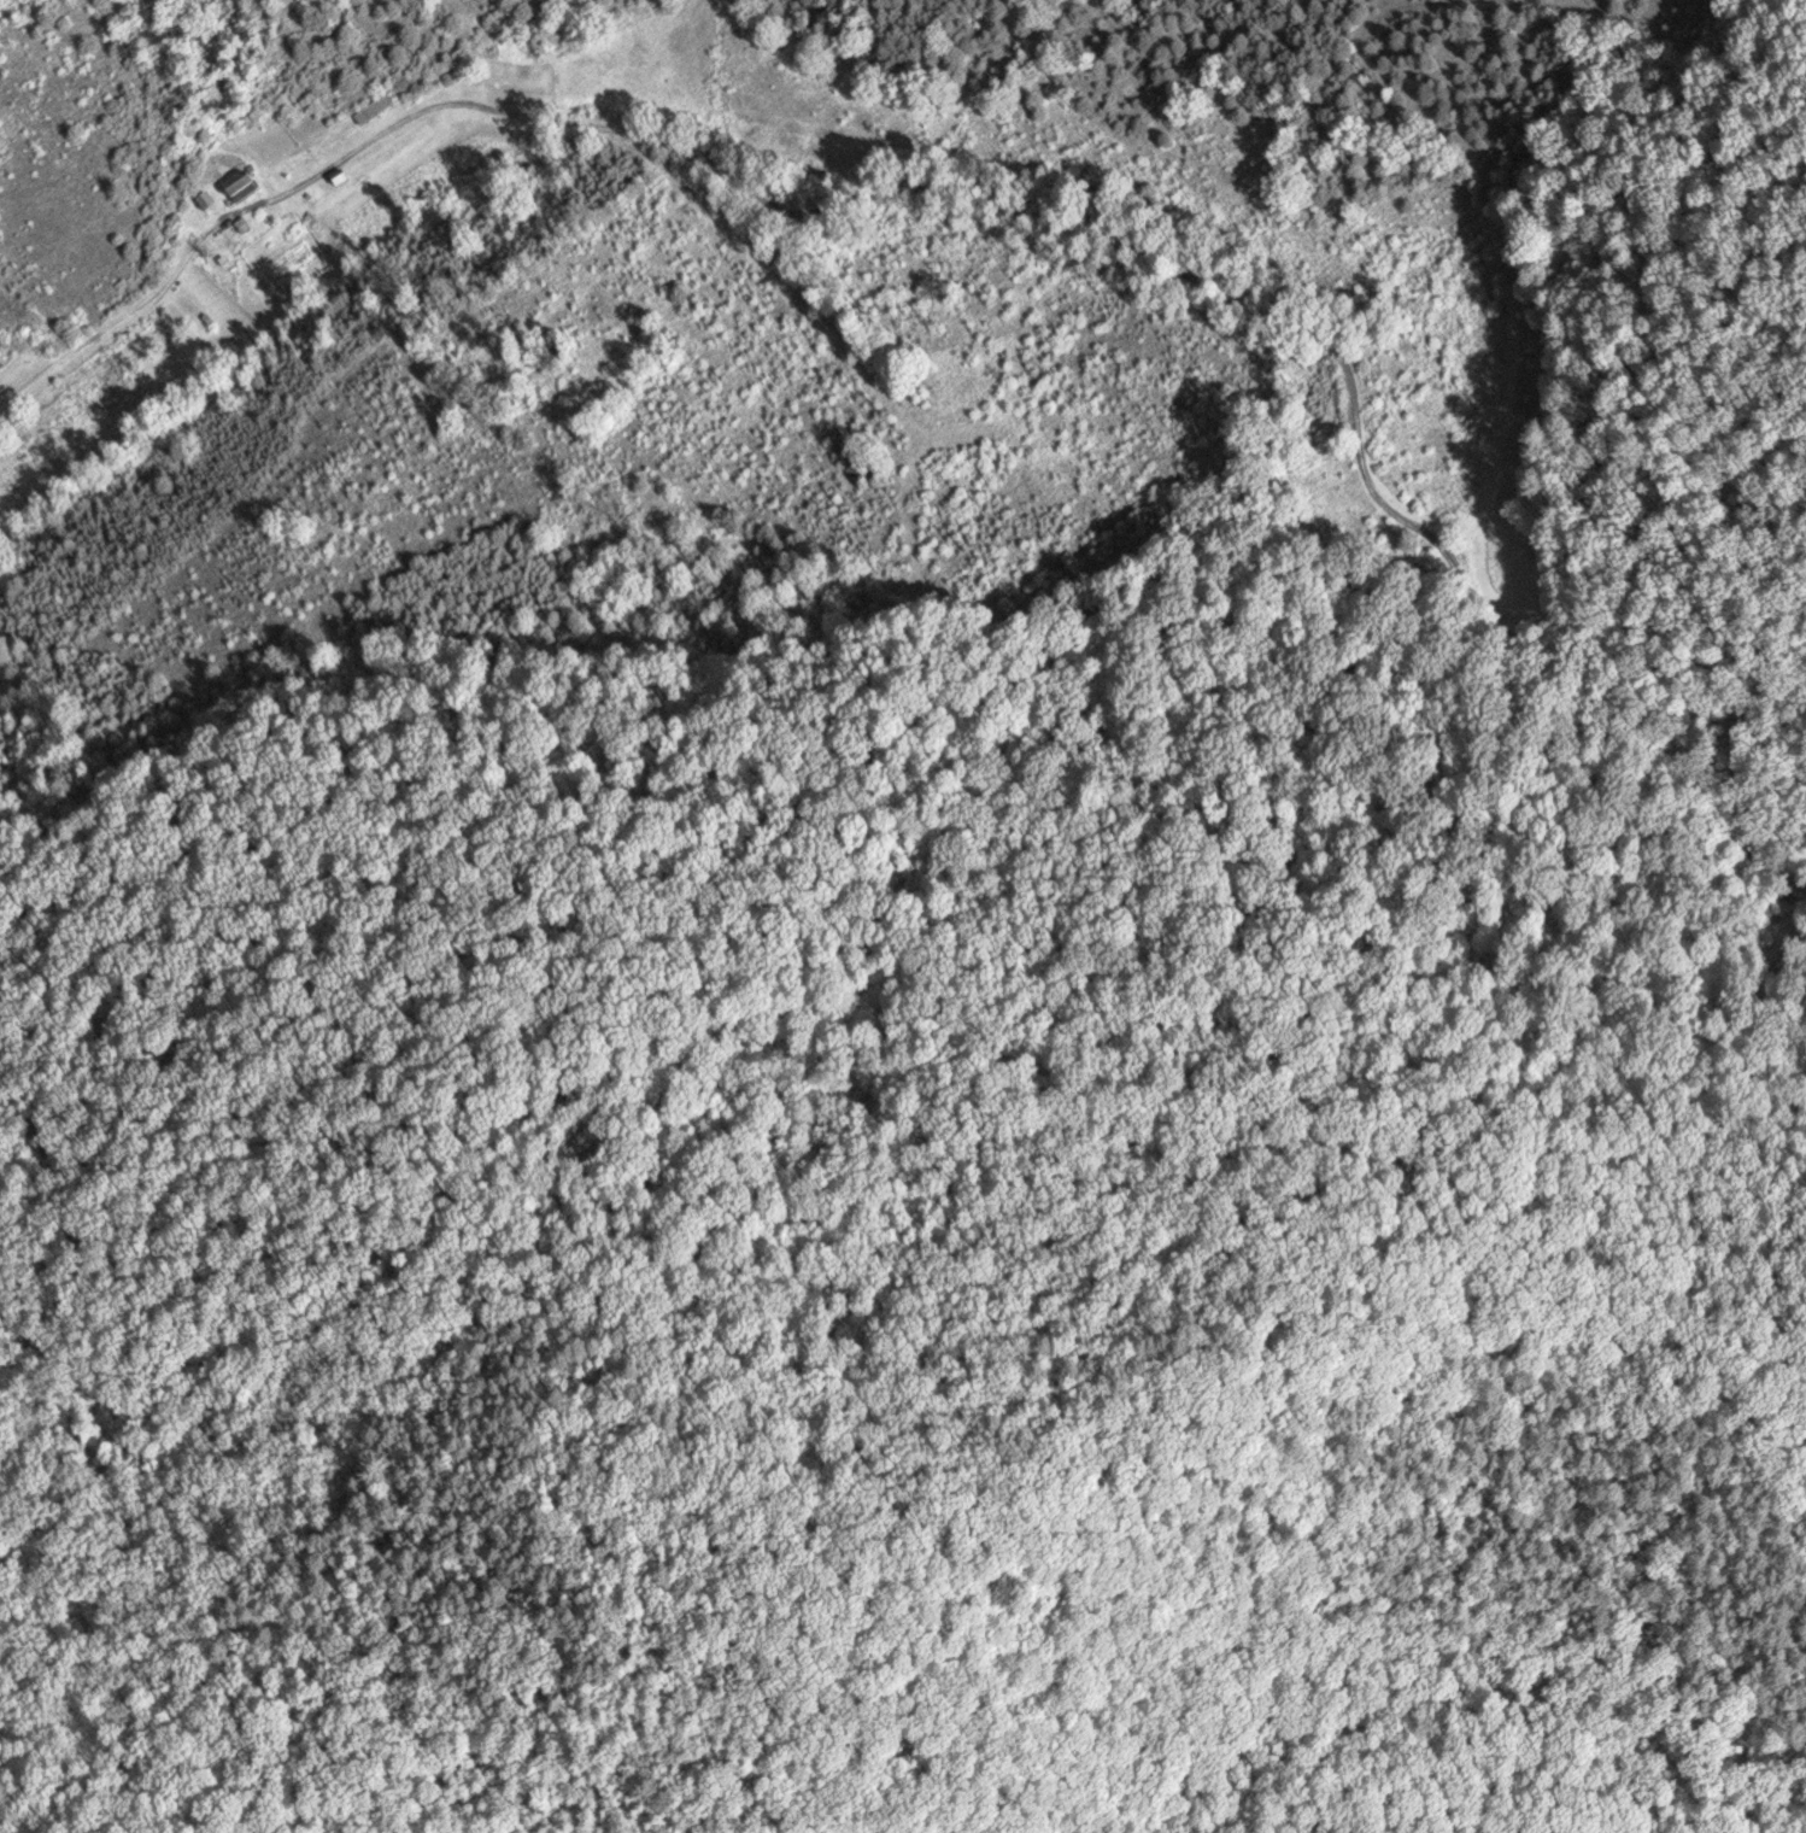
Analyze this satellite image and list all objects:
building: (379, 107)
road: (1039, 189)
building: (212, 203)

